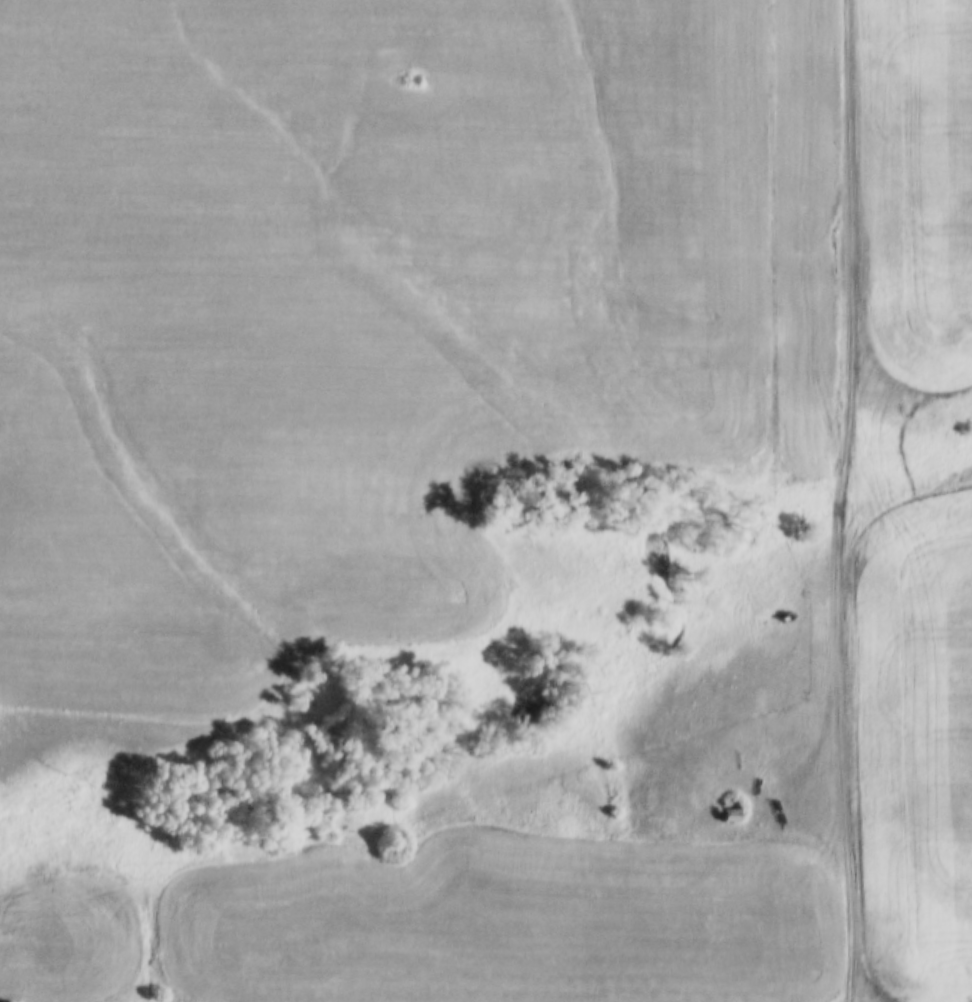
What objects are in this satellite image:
road: (867, 502)
building: (729, 799)
building: (730, 812)
building: (725, 817)

